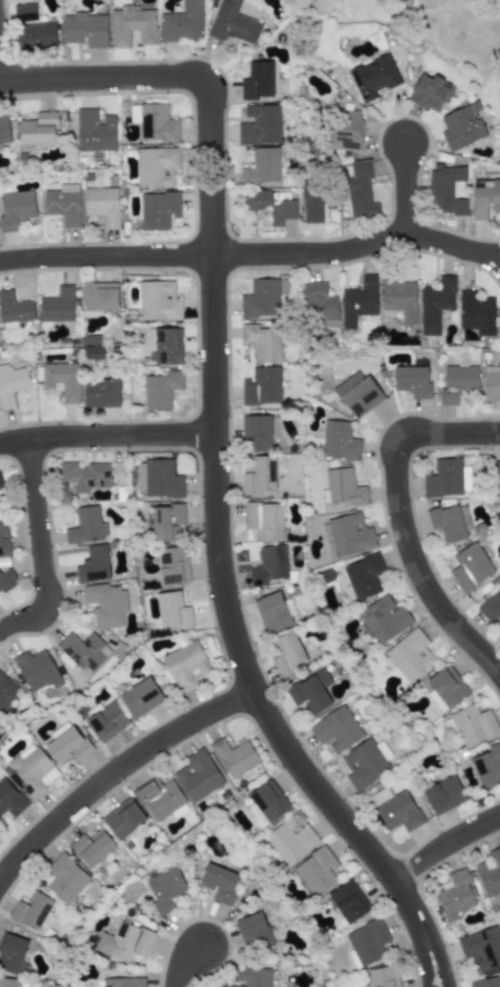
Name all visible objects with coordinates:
building: (24, 12)
building: (181, 22)
building: (232, 24)
building: (131, 26)
building: (85, 29)
building: (37, 36)
building: (373, 77)
road: (101, 79)
building: (257, 81)
building: (430, 93)
building: (154, 123)
building: (260, 125)
building: (462, 127)
building: (4, 129)
building: (38, 129)
building: (346, 130)
building: (94, 131)
building: (261, 166)
building: (155, 167)
building: (446, 188)
building: (360, 190)
road: (406, 191)
building: (485, 199)
building: (63, 204)
building: (311, 204)
building: (101, 205)
building: (15, 209)
building: (157, 210)
road: (252, 255)
building: (99, 296)
building: (260, 299)
building: (399, 299)
building: (158, 301)
building: (358, 301)
building: (318, 302)
building: (435, 304)
building: (57, 305)
building: (14, 308)
building: (475, 313)
building: (499, 326)
building: (262, 342)
building: (92, 352)
building: (61, 380)
building: (411, 381)
building: (457, 383)
building: (491, 383)
building: (11, 384)
building: (261, 386)
building: (160, 389)
building: (100, 393)
building: (357, 394)
building: (255, 433)
road: (451, 434)
road: (107, 439)
building: (338, 441)
building: (84, 475)
building: (259, 475)
building: (497, 478)
building: (443, 479)
building: (1, 483)
building: (344, 488)
building: (263, 520)
building: (165, 522)
building: (86, 526)
building: (349, 534)
building: (4, 538)
road: (218, 548)
road: (40, 550)
building: (93, 565)
building: (173, 565)
building: (269, 565)
road: (418, 567)
building: (470, 567)
building: (363, 576)
building: (6, 581)
building: (105, 604)
building: (491, 607)
building: (172, 611)
building: (273, 612)
building: (384, 619)
building: (83, 651)
building: (288, 654)
building: (410, 655)
building: (186, 666)
building: (36, 670)
building: (445, 688)
building: (310, 692)
building: (140, 698)
building: (106, 722)
building: (473, 725)
building: (336, 729)
building: (67, 746)
building: (235, 757)
building: (363, 764)
building: (487, 767)
building: (32, 769)
road: (115, 775)
building: (198, 775)
building: (444, 795)
building: (159, 797)
building: (10, 799)
building: (269, 801)
building: (398, 811)
building: (123, 818)
building: (289, 842)
building: (91, 847)
road: (446, 847)
building: (316, 872)
building: (490, 873)
building: (66, 879)
building: (219, 883)
building: (165, 889)
building: (456, 895)
building: (348, 901)
building: (32, 910)
building: (253, 933)
building: (124, 942)
building: (368, 943)
building: (481, 948)
building: (11, 952)
road: (183, 963)
road: (450, 964)
road: (422, 968)
building: (252, 977)
building: (383, 977)
building: (9, 982)
building: (123, 982)
building: (485, 982)

